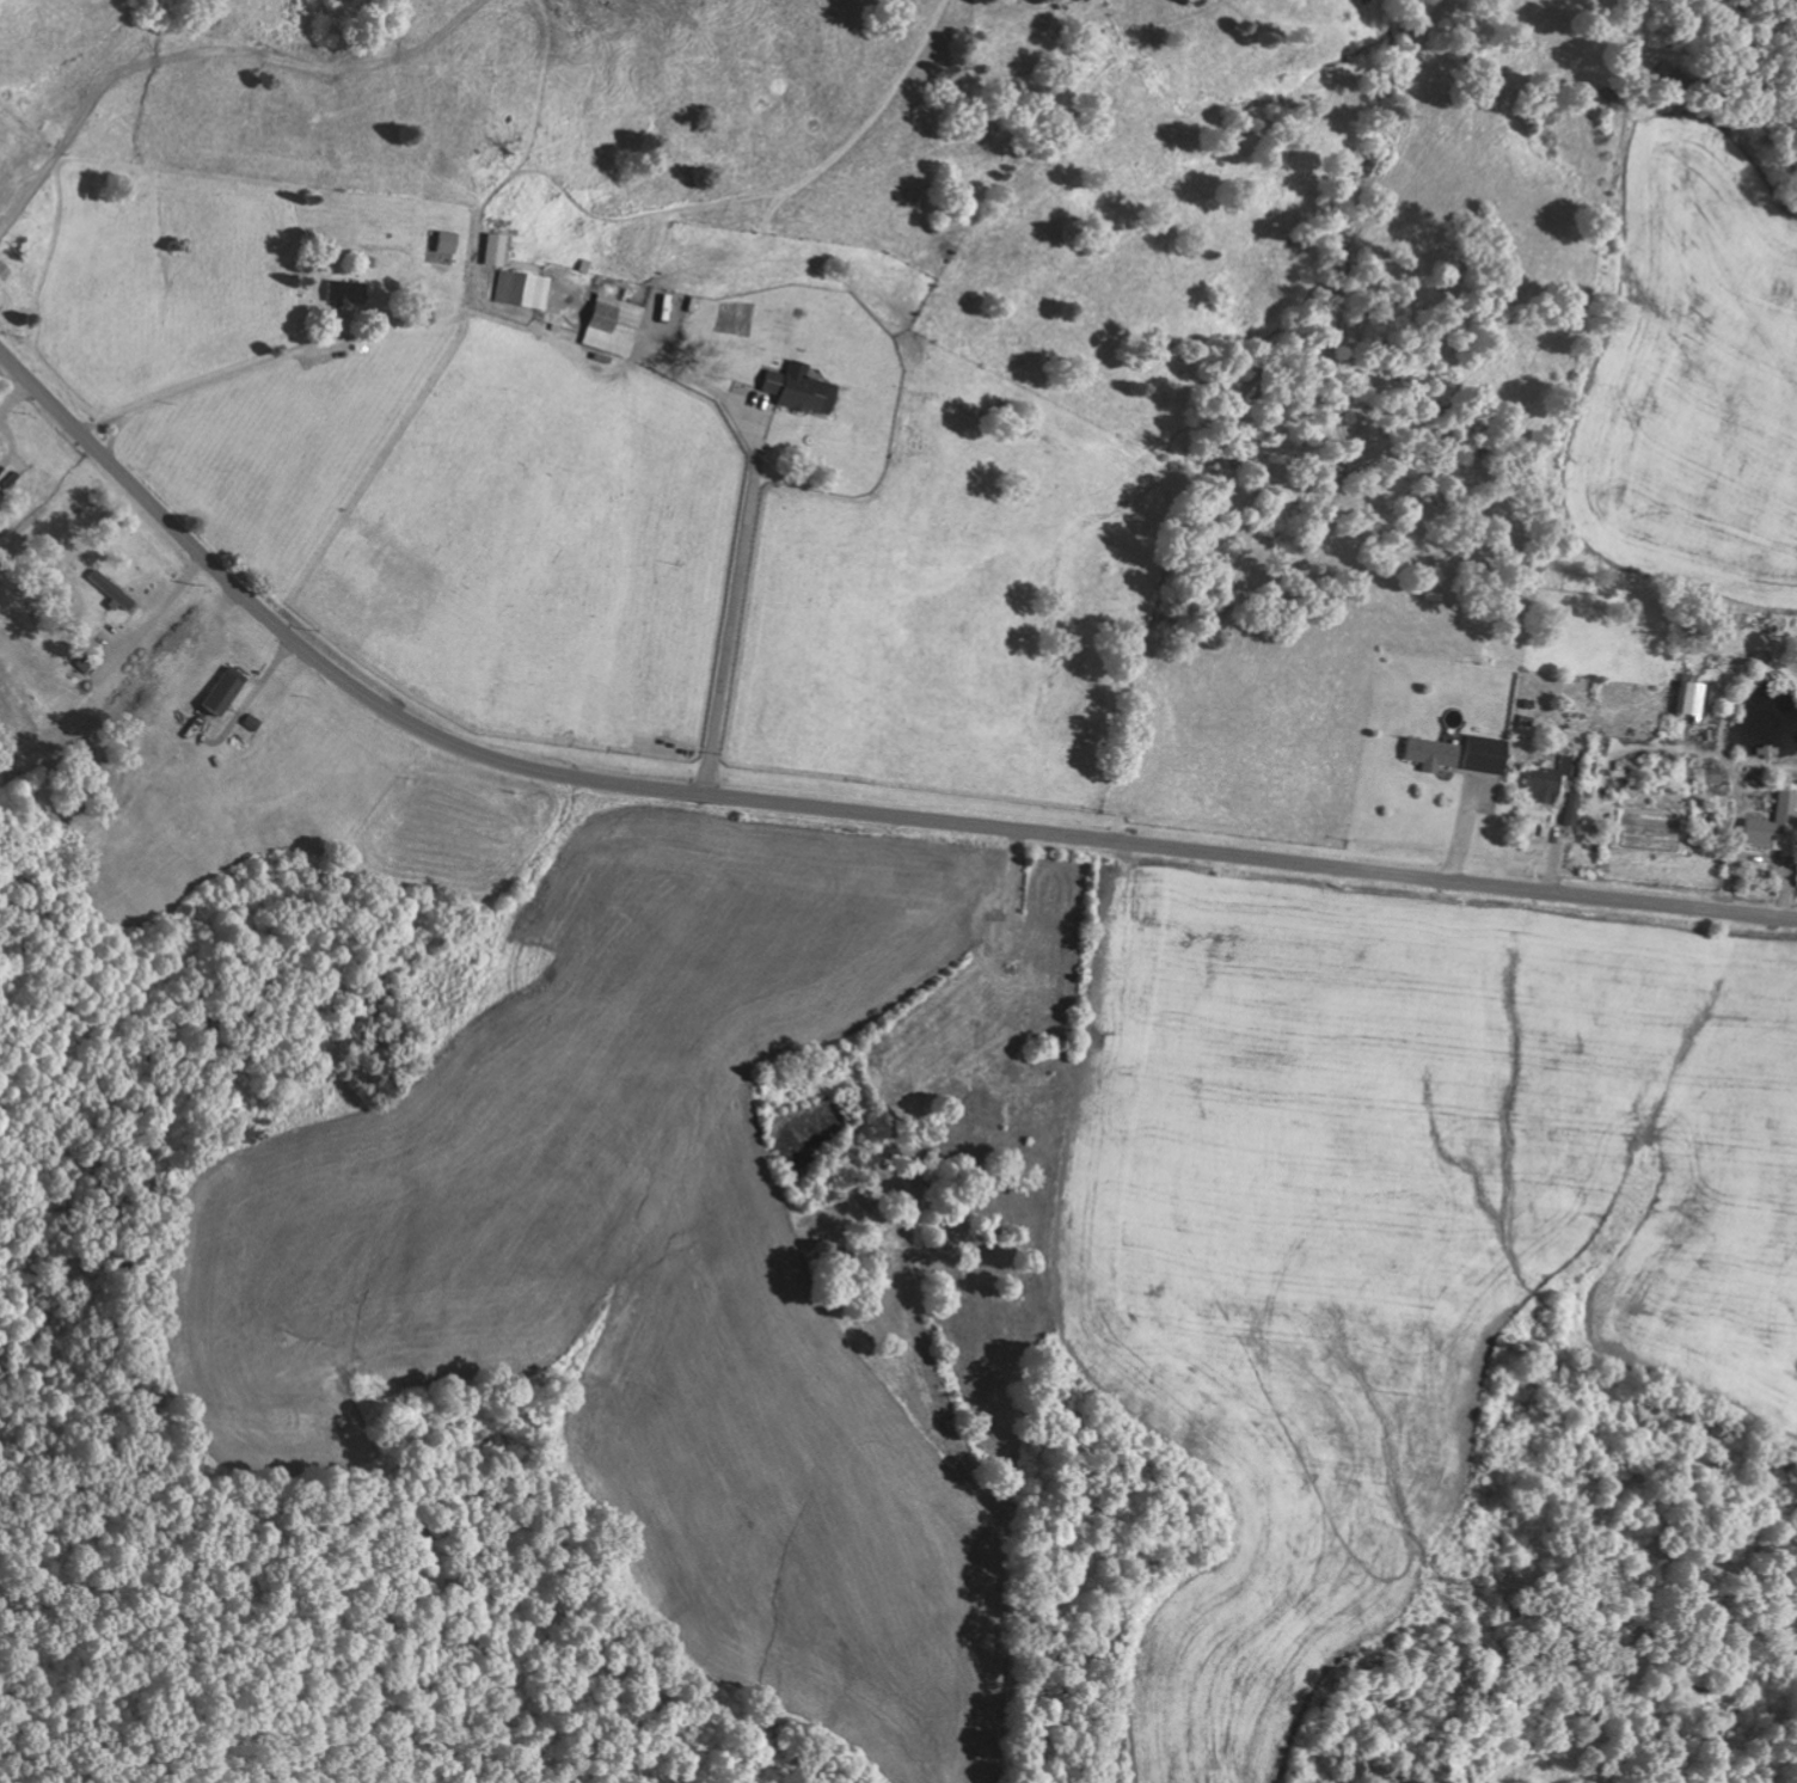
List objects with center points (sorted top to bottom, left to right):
building: (443, 243)
building: (491, 250)
building: (520, 290)
building: (339, 294)
building: (609, 325)
building: (796, 390)
building: (219, 691)
building: (1688, 698)
building: (1425, 754)
building: (1479, 754)
building: (1701, 776)
building: (1545, 782)
road: (822, 807)
building: (1568, 809)
building: (1771, 821)

